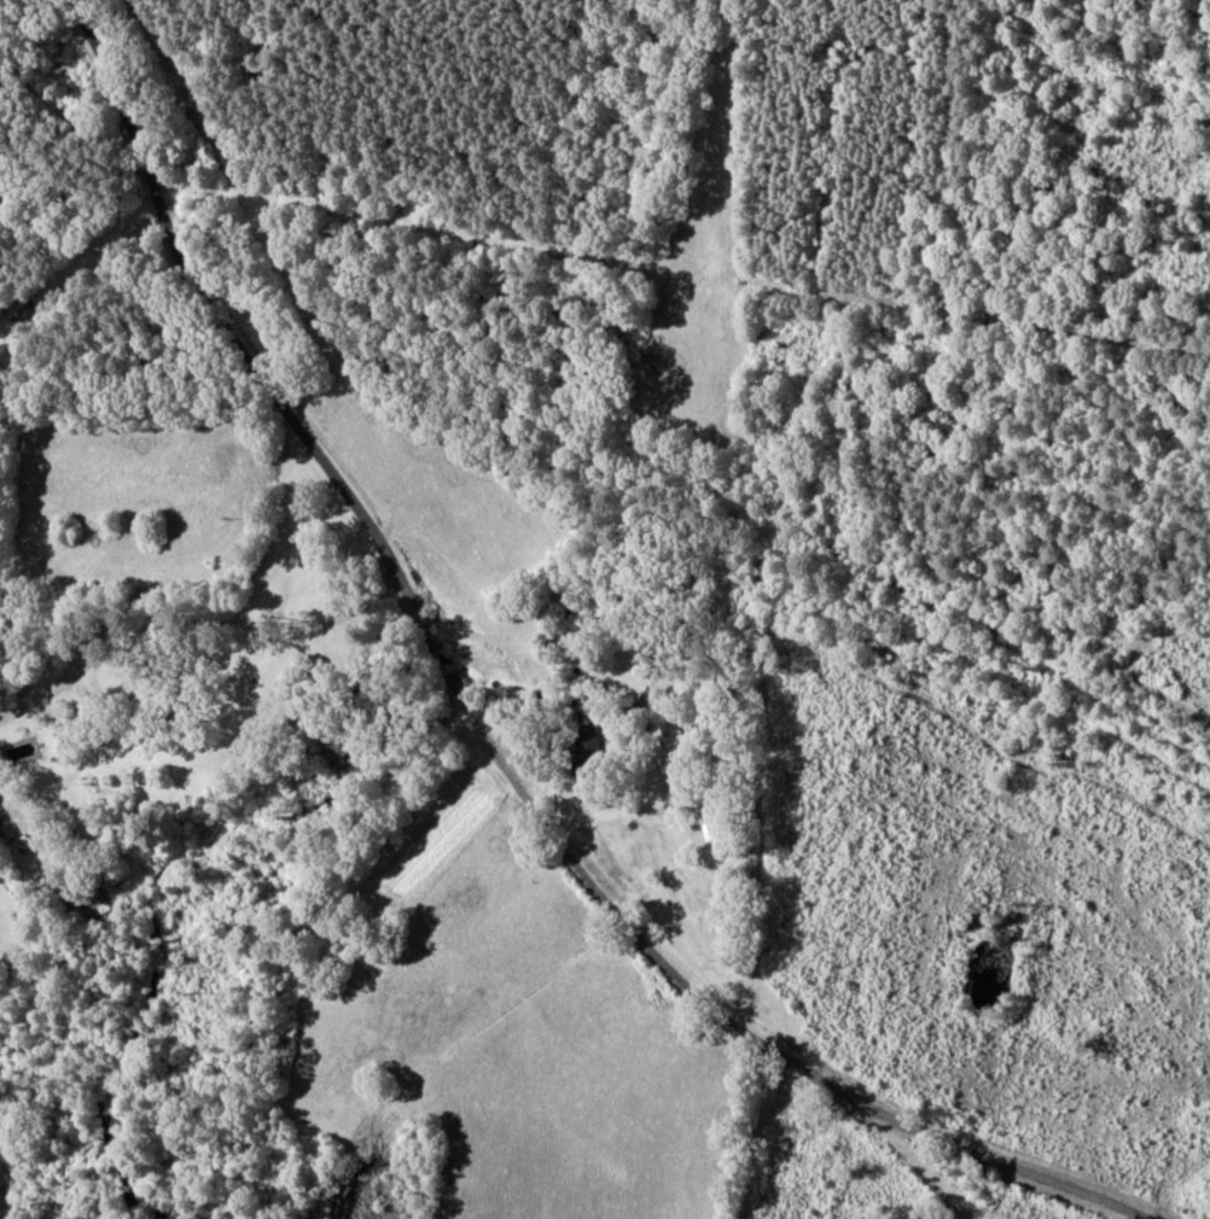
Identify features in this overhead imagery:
road: (222, 321)
road: (185, 692)
road: (524, 857)
road: (865, 1132)

